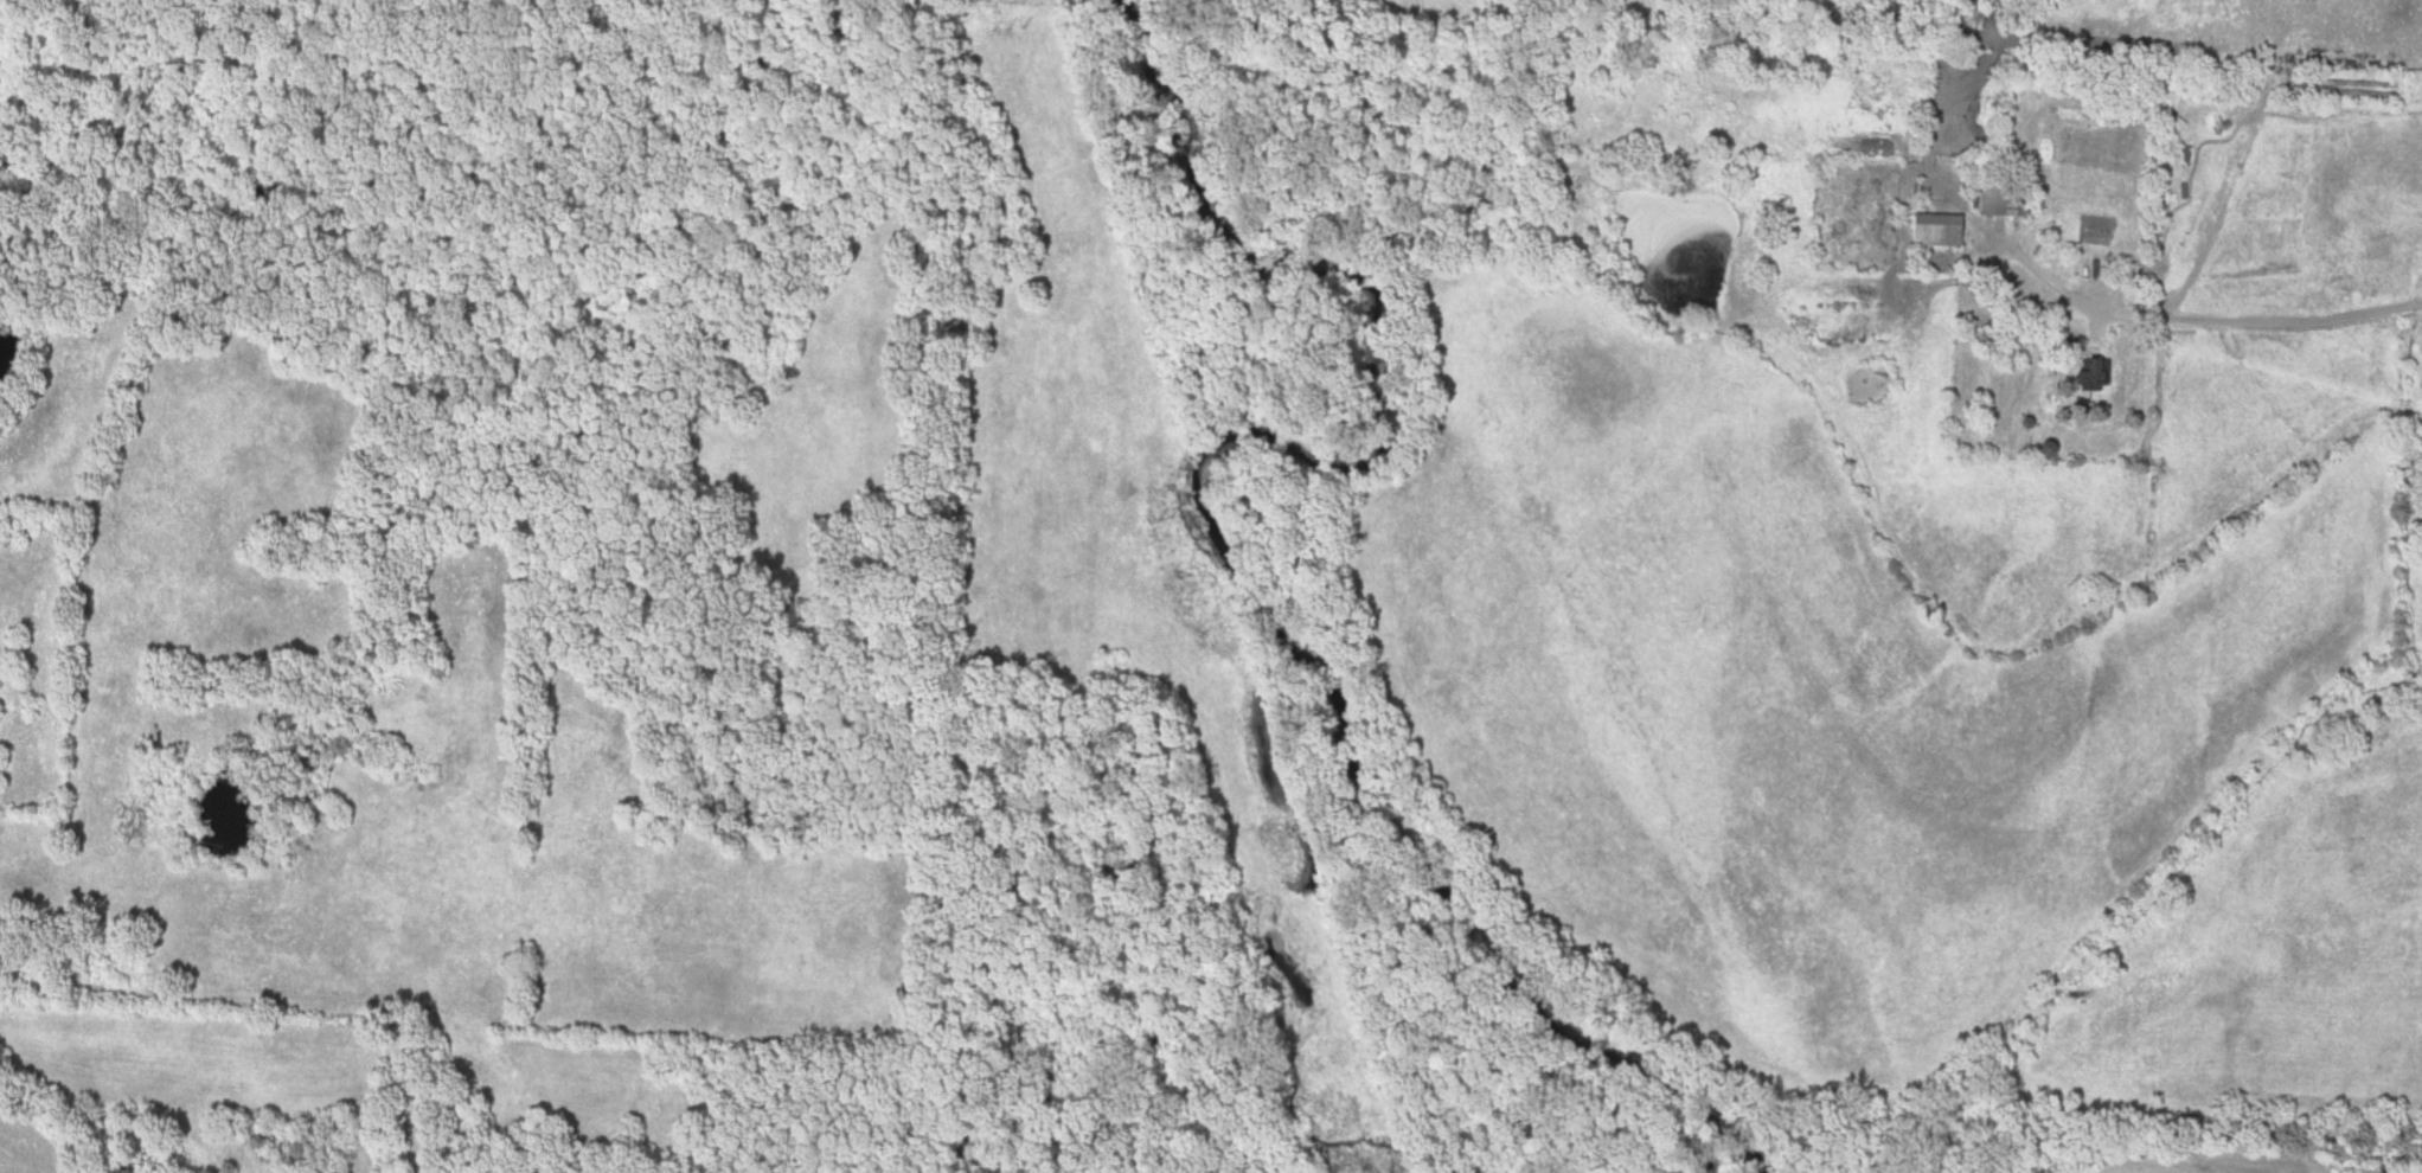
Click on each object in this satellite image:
building: (2013, 201)
building: (1933, 232)
road: (2197, 327)
building: (2085, 373)
crop: (2204, 1168)

